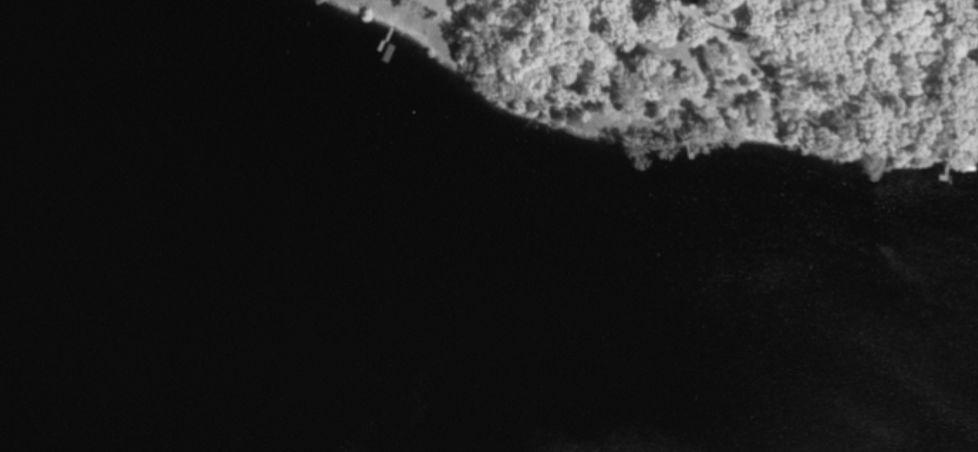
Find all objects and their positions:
building: (977, 0)
building: (670, 2)

